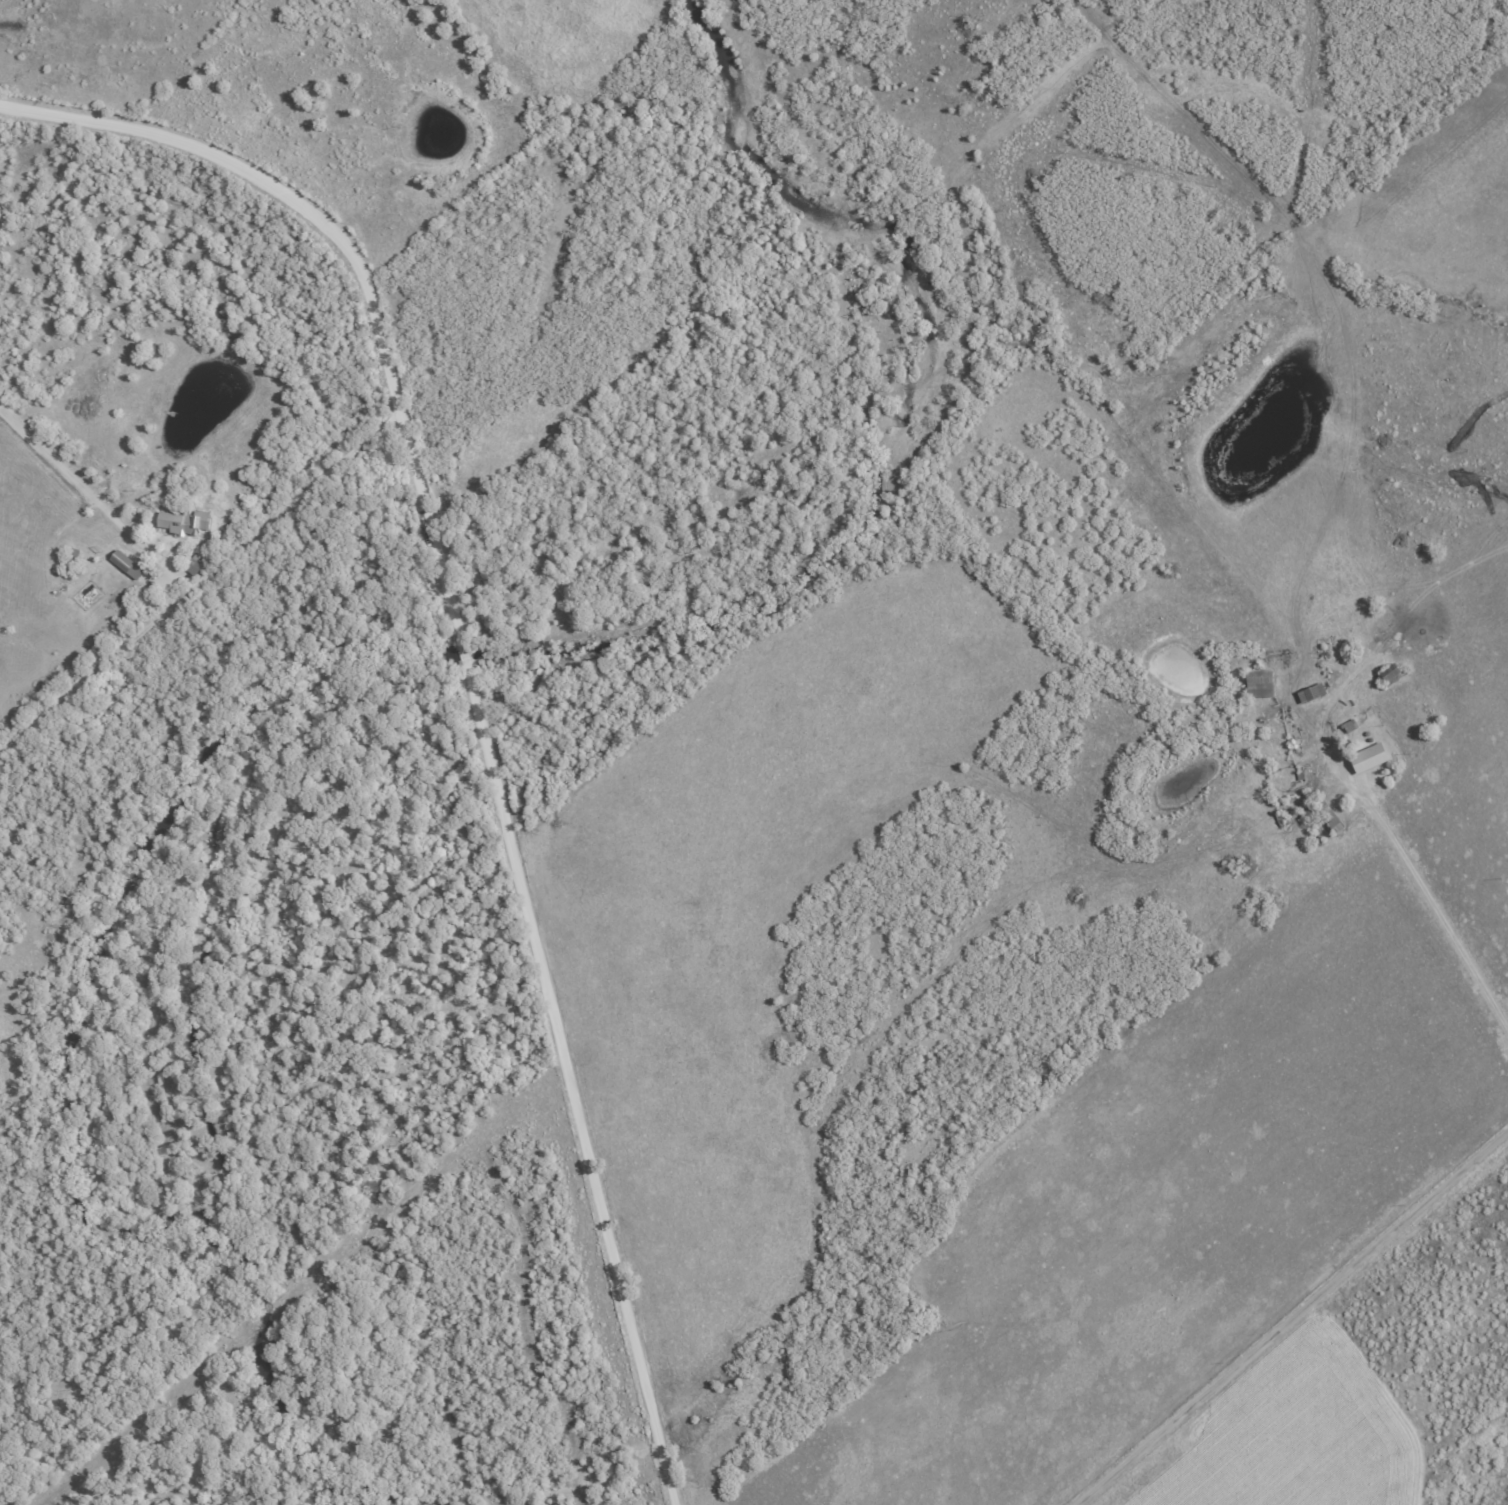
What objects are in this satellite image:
road: (85, 480)
building: (188, 523)
building: (130, 565)
road: (200, 585)
building: (1258, 685)
road: (472, 687)
building: (1367, 758)
road: (1451, 932)
road: (1295, 1319)

